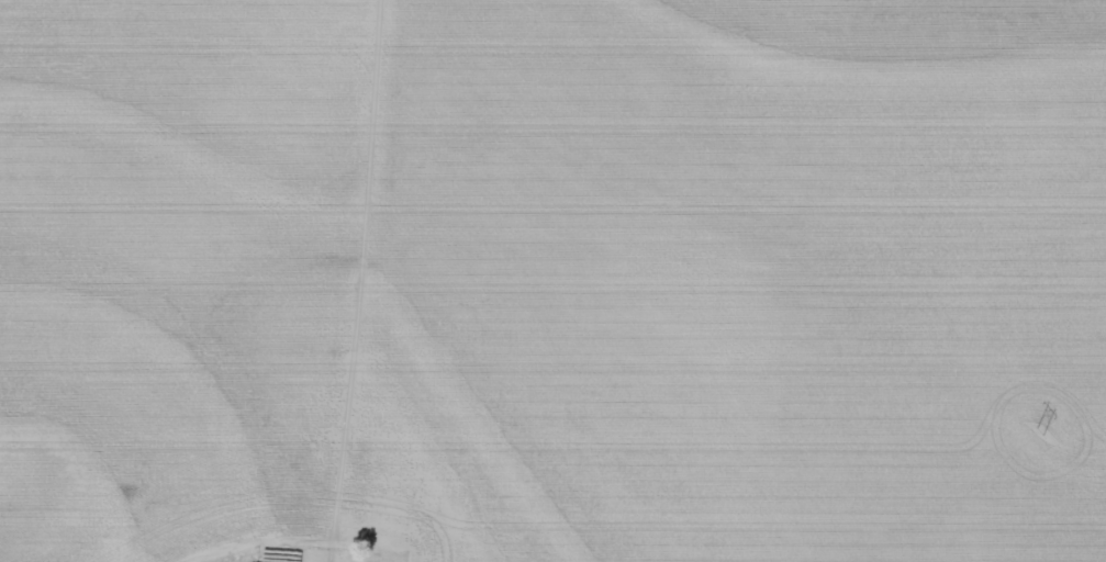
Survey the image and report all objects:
power tower: (1051, 439)

